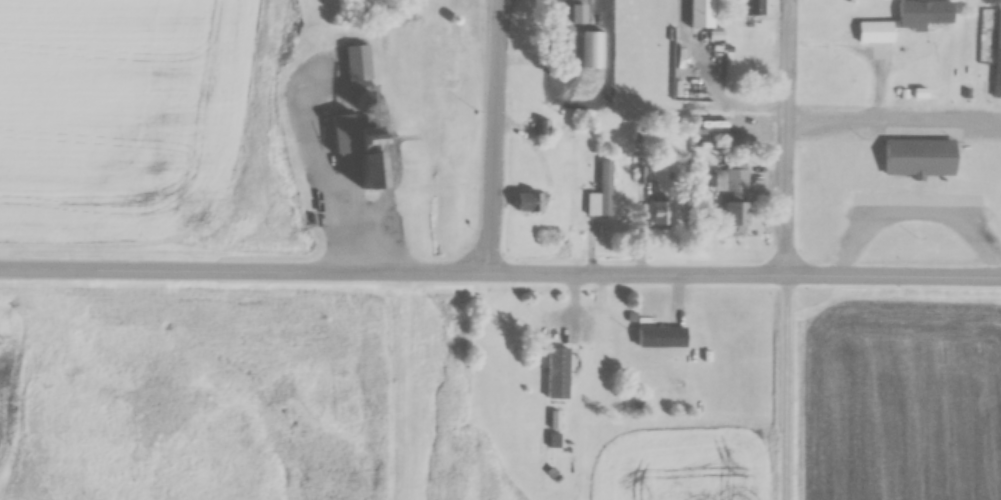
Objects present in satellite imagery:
building: (573, 6)
building: (660, 10)
building: (742, 10)
building: (700, 13)
building: (914, 18)
building: (874, 33)
building: (573, 47)
building: (997, 57)
building: (357, 63)
building: (541, 129)
building: (344, 134)
road: (490, 140)
building: (907, 161)
building: (368, 171)
building: (600, 194)
building: (735, 200)
building: (530, 202)
building: (660, 214)
building: (724, 227)
road: (778, 250)
road: (500, 280)
building: (651, 339)
building: (549, 381)
building: (552, 441)

